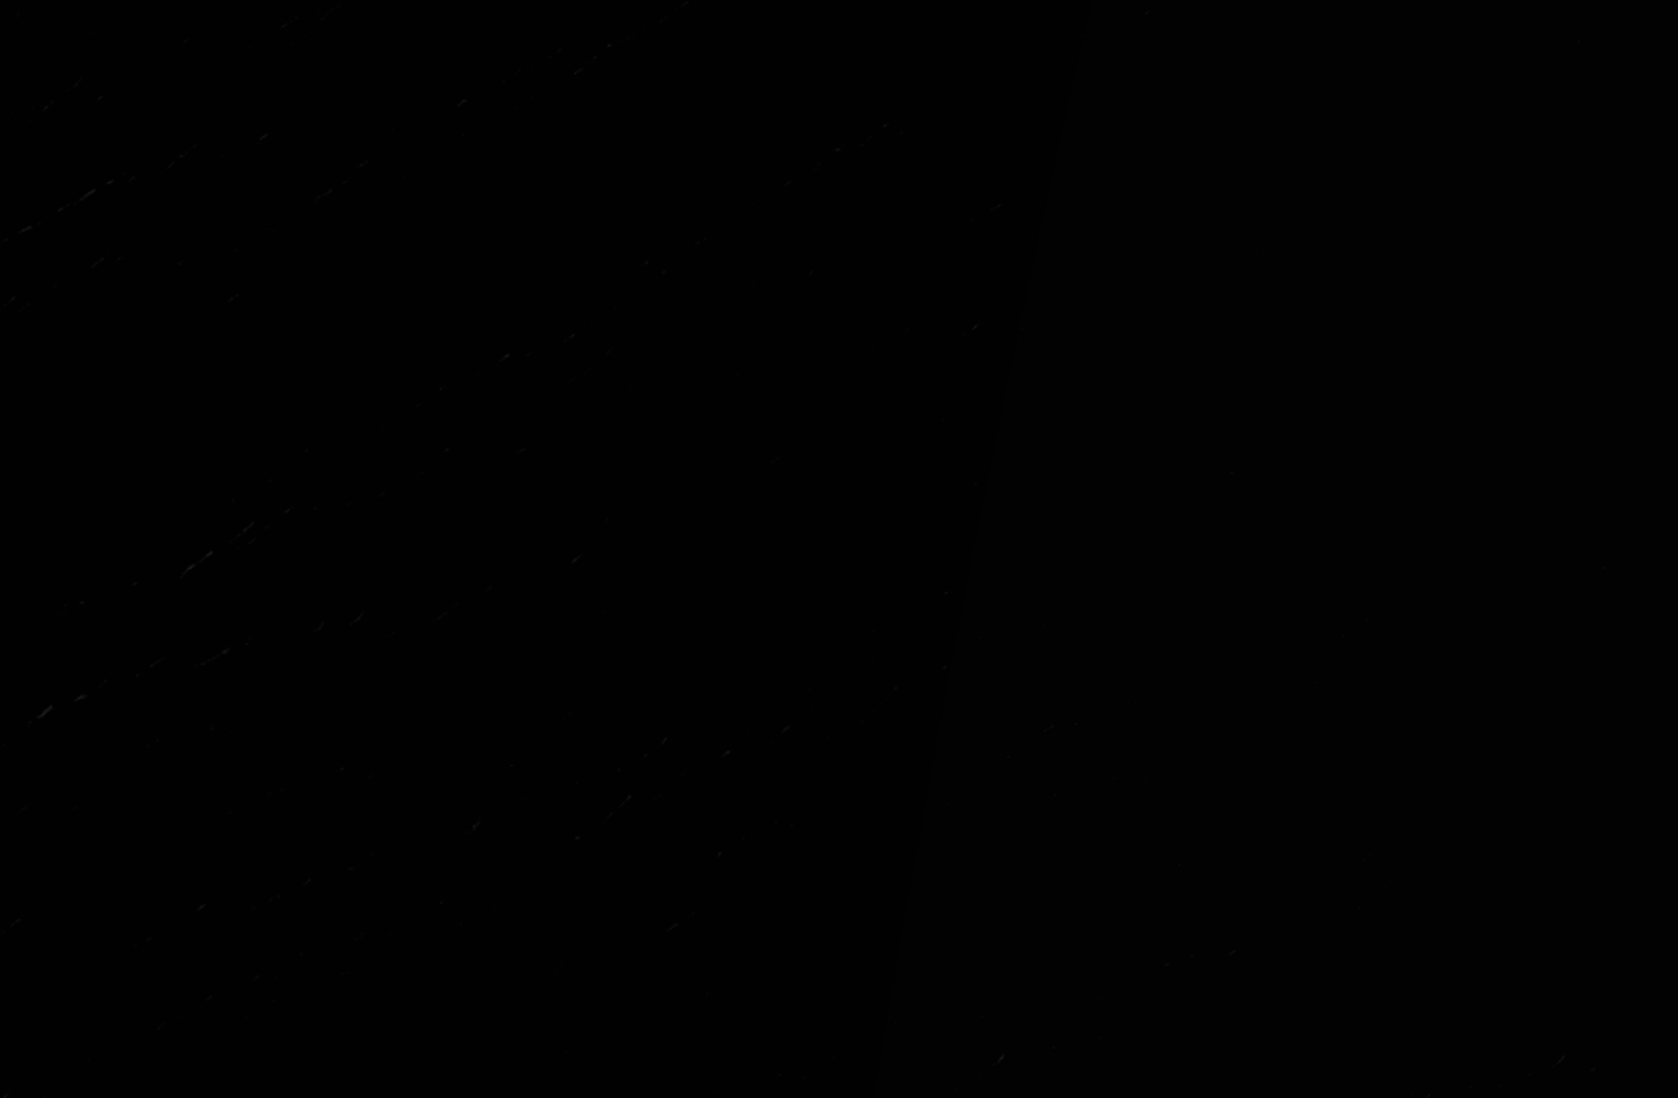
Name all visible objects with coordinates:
river: (1292, 550)

